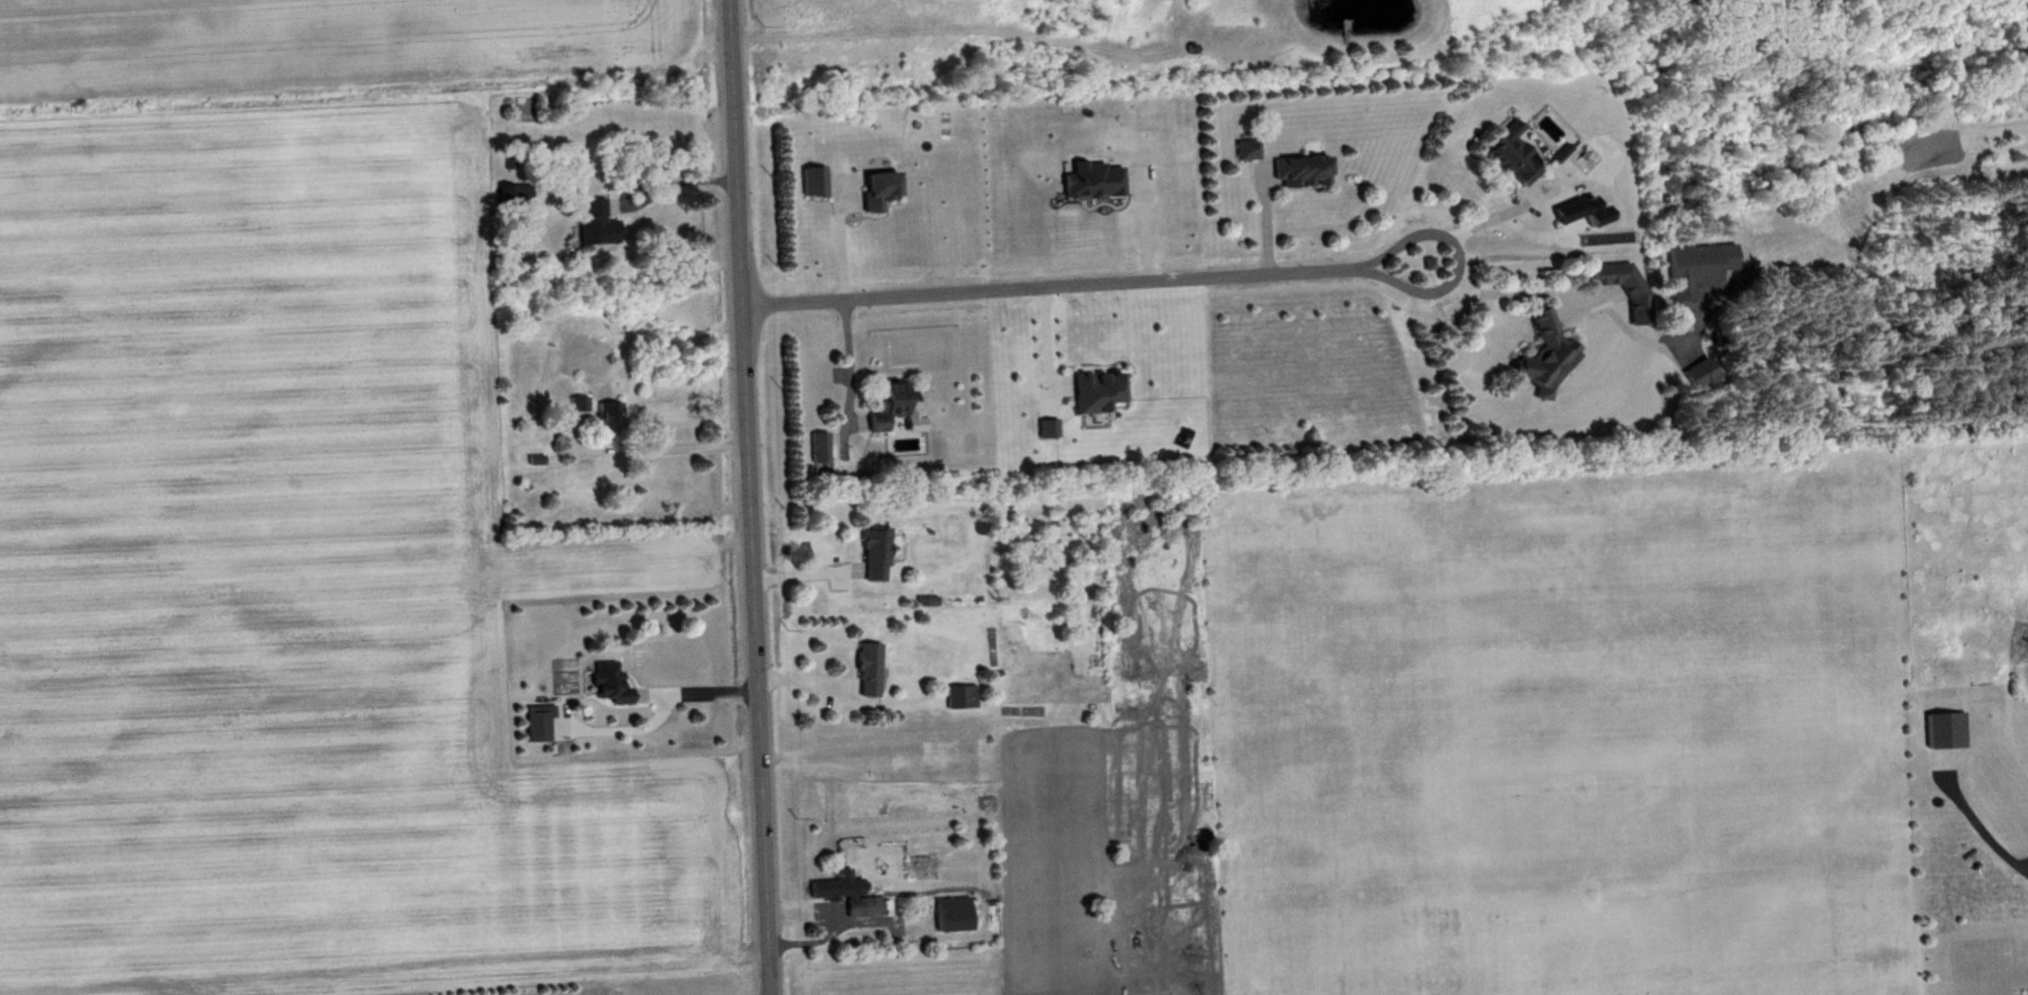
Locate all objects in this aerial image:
building: (1247, 152)
building: (1511, 156)
building: (1302, 172)
building: (514, 196)
road: (1486, 211)
building: (1569, 213)
building: (594, 224)
road: (841, 235)
road: (1080, 271)
building: (1692, 271)
road: (1545, 282)
building: (1637, 307)
road: (848, 350)
building: (1545, 358)
building: (580, 405)
building: (890, 405)
building: (611, 421)
building: (820, 449)
road: (661, 450)
road: (744, 497)
building: (875, 556)
road: (801, 563)
building: (866, 672)
building: (608, 685)
building: (962, 698)
building: (539, 724)
building: (1947, 732)
building: (848, 895)
building: (954, 915)

